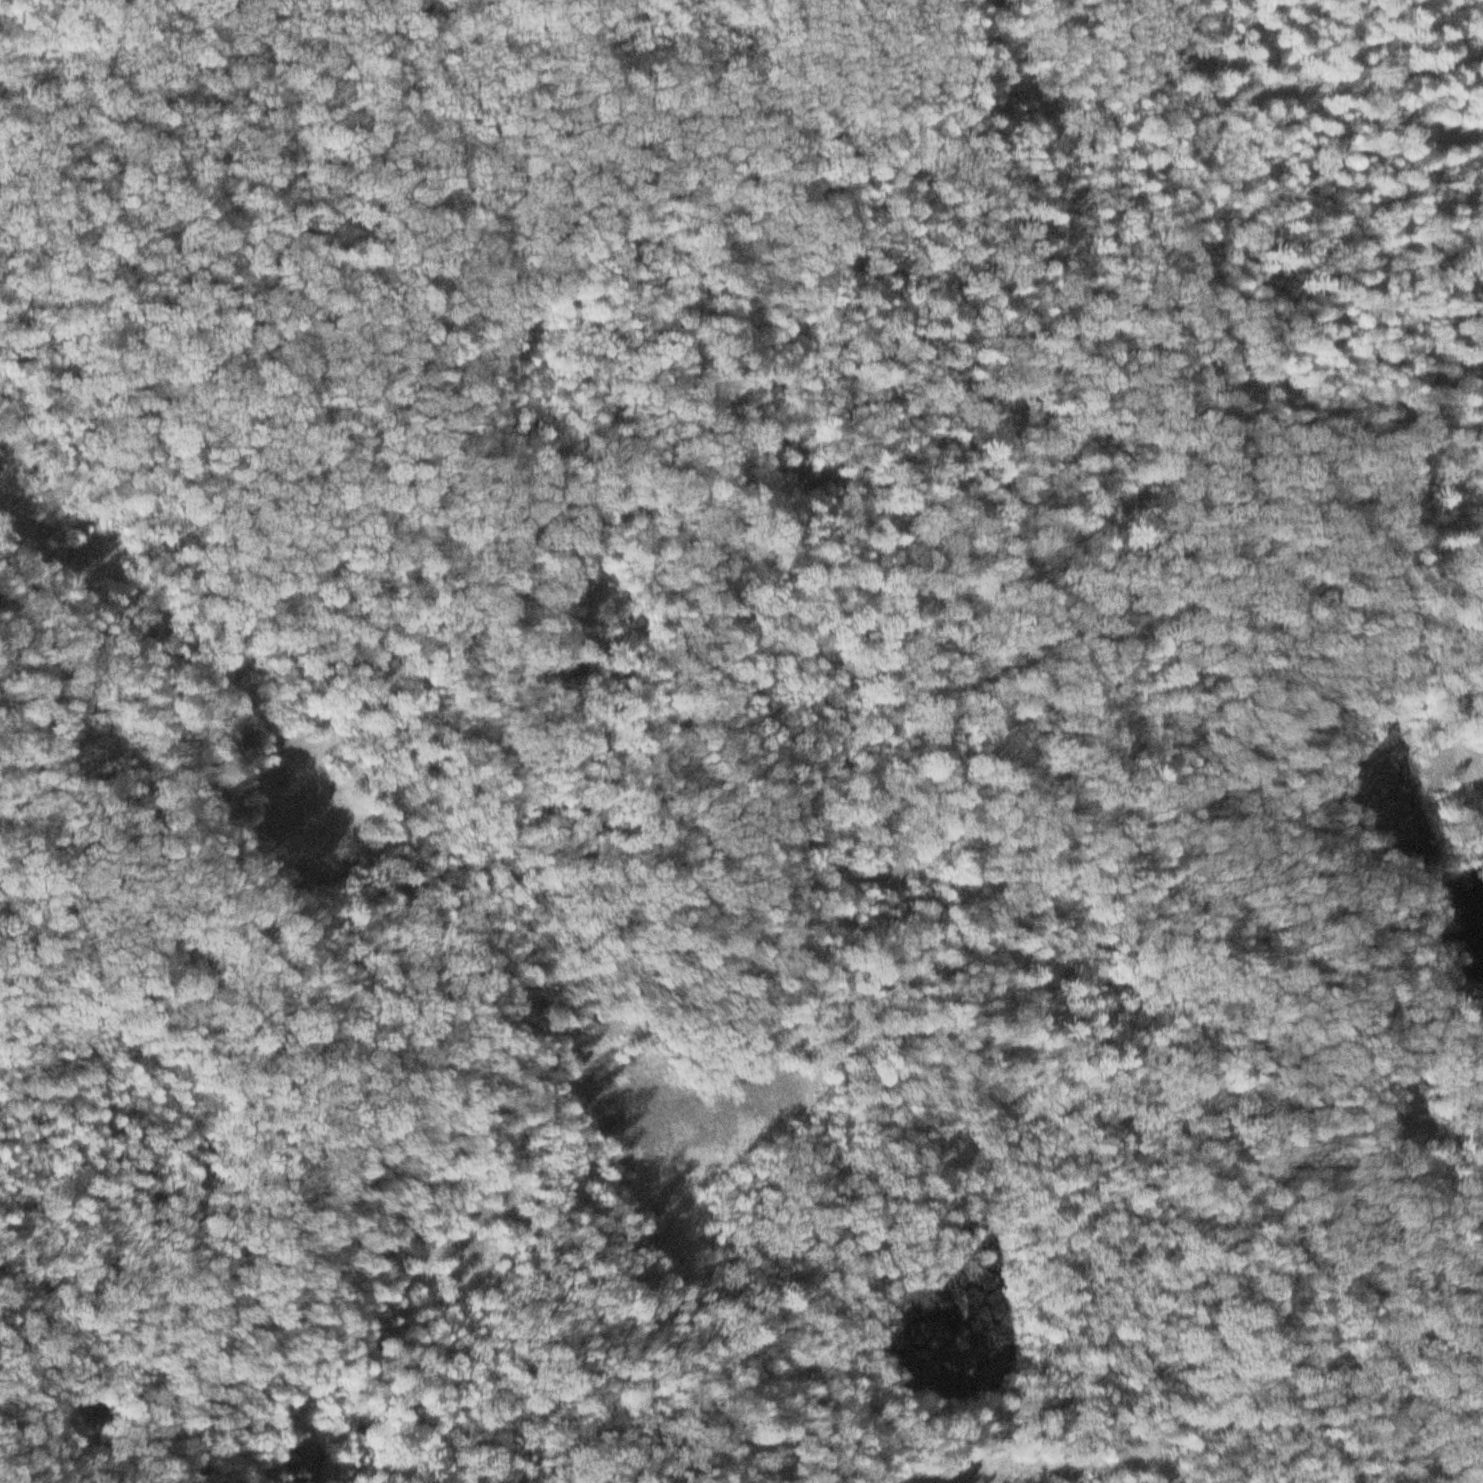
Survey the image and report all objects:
road: (604, 131)
road: (1196, 292)
road: (1089, 856)
road: (1253, 1041)
road: (1352, 1248)

